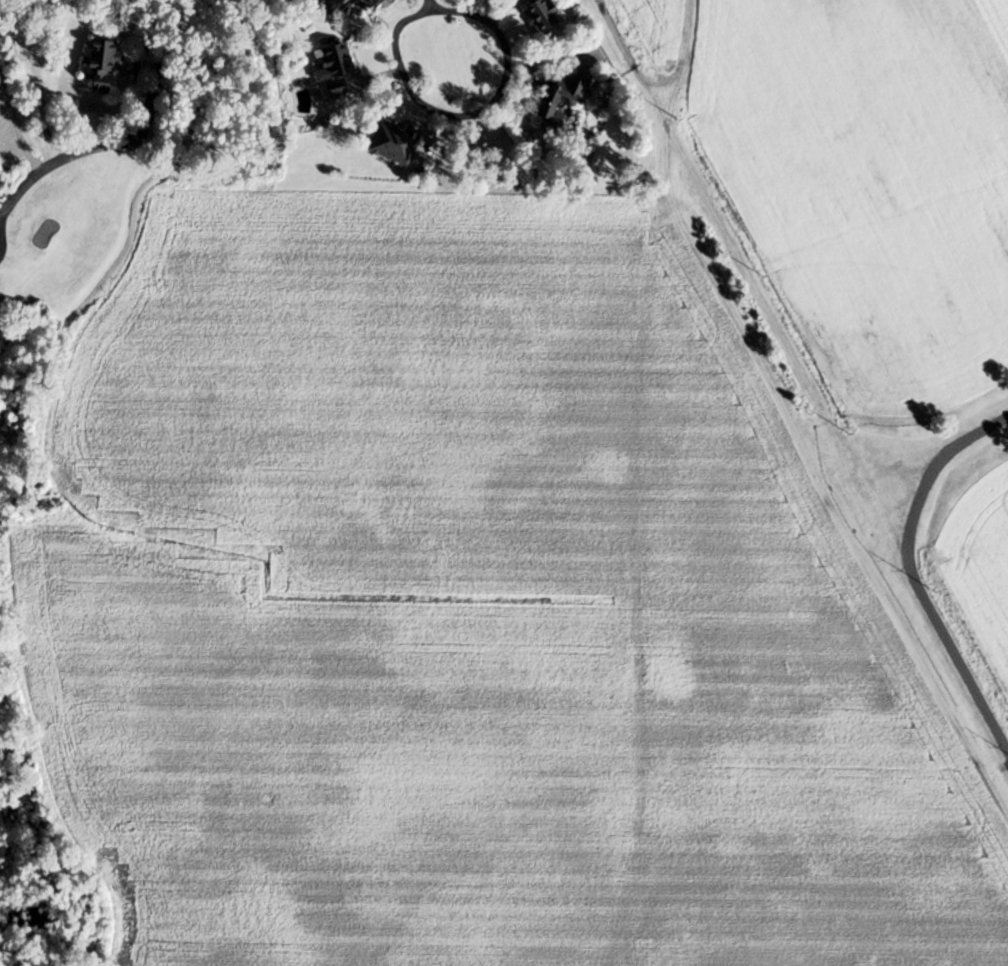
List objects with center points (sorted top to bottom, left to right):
building: (526, 0)
building: (376, 4)
road: (205, 5)
road: (431, 9)
building: (544, 16)
road: (433, 18)
road: (630, 60)
road: (682, 61)
building: (103, 65)
building: (335, 69)
building: (564, 97)
road: (14, 120)
building: (397, 143)
road: (135, 144)
road: (0, 246)
road: (911, 573)

